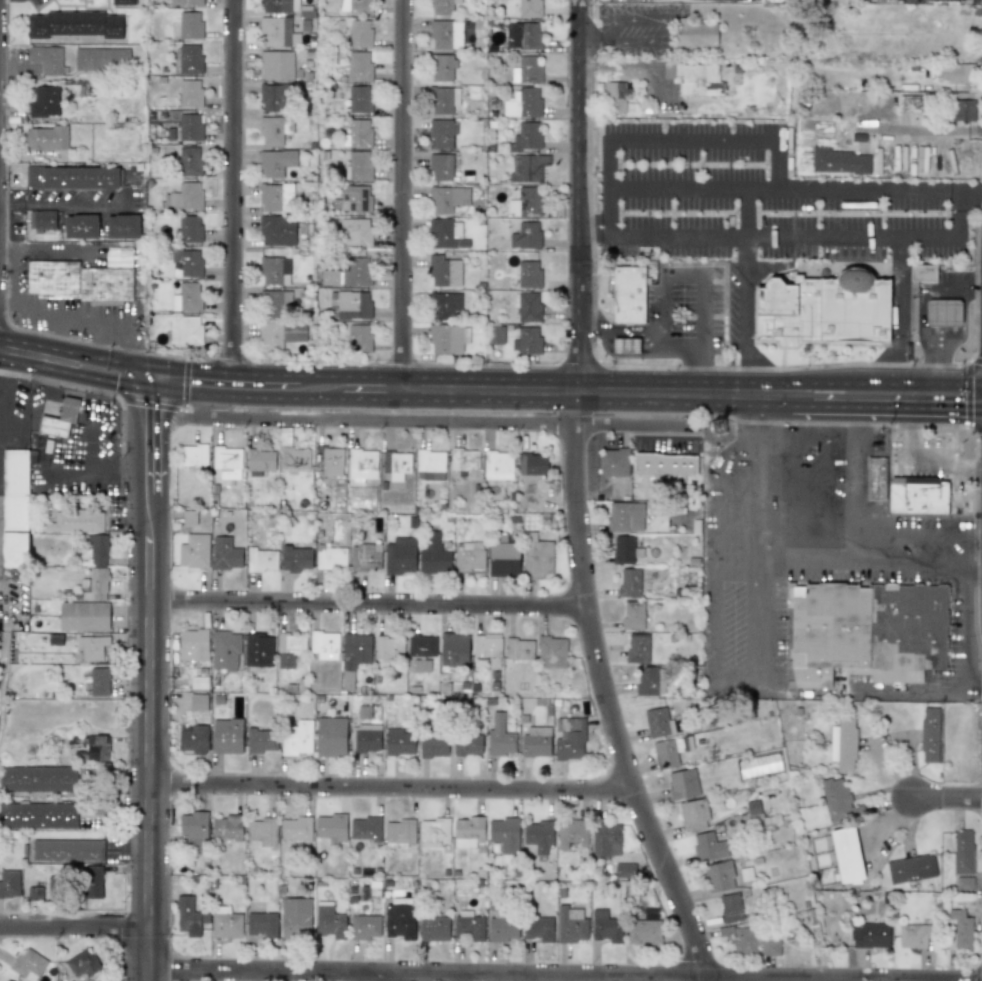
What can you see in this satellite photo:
building: (120, 2)
building: (184, 2)
building: (279, 6)
building: (442, 6)
building: (360, 7)
building: (531, 8)
building: (73, 24)
building: (190, 24)
road: (670, 31)
building: (277, 32)
building: (694, 32)
building: (360, 33)
building: (445, 34)
building: (530, 36)
building: (189, 58)
building: (47, 59)
building: (101, 59)
building: (276, 65)
building: (360, 66)
road: (631, 66)
building: (442, 67)
building: (528, 70)
building: (956, 73)
building: (694, 78)
building: (190, 93)
building: (616, 96)
building: (273, 97)
building: (360, 99)
building: (443, 99)
building: (44, 102)
building: (524, 103)
building: (909, 103)
building: (963, 110)
building: (189, 126)
building: (272, 130)
building: (357, 133)
building: (441, 133)
building: (526, 136)
building: (46, 138)
road: (754, 139)
building: (190, 161)
building: (839, 161)
building: (275, 162)
building: (359, 165)
building: (440, 166)
building: (527, 167)
building: (73, 178)
road: (866, 191)
road: (970, 191)
road: (231, 193)
road: (401, 194)
building: (186, 196)
building: (276, 197)
building: (352, 198)
building: (447, 198)
road: (6, 199)
road: (85, 200)
parking lot: (765, 200)
building: (525, 202)
road: (748, 213)
building: (42, 220)
building: (80, 226)
building: (122, 226)
building: (188, 228)
building: (277, 230)
building: (354, 231)
building: (444, 232)
road: (594, 234)
road: (736, 234)
building: (525, 235)
road: (877, 238)
road: (65, 251)
building: (116, 258)
building: (186, 263)
building: (274, 270)
building: (443, 271)
building: (922, 272)
building: (349, 273)
building: (529, 274)
building: (79, 282)
building: (628, 295)
building: (186, 297)
building: (276, 302)
road: (6, 303)
building: (443, 304)
building: (349, 305)
building: (528, 306)
building: (824, 310)
road: (903, 311)
building: (943, 312)
gas station: (943, 312)
road: (921, 317)
road: (62, 320)
road: (660, 325)
road: (964, 325)
building: (185, 330)
road: (697, 331)
road: (621, 333)
building: (279, 334)
building: (495, 335)
building: (359, 337)
road: (59, 338)
building: (448, 338)
building: (526, 340)
road: (97, 346)
road: (75, 360)
road: (2, 367)
road: (746, 371)
road: (868, 384)
road: (453, 389)
road: (868, 407)
building: (60, 418)
road: (435, 420)
power tower: (725, 426)
building: (193, 455)
building: (226, 457)
parking lot: (926, 458)
building: (260, 459)
building: (294, 459)
building: (464, 459)
road: (924, 459)
building: (329, 460)
building: (430, 460)
building: (497, 461)
building: (396, 462)
building: (614, 462)
building: (361, 464)
building: (532, 464)
building: (663, 464)
road: (854, 468)
road: (84, 476)
building: (876, 478)
building: (917, 497)
road: (575, 500)
building: (14, 504)
building: (625, 517)
building: (188, 518)
building: (74, 520)
road: (877, 530)
building: (97, 550)
building: (625, 550)
building: (194, 551)
building: (225, 554)
building: (366, 556)
building: (400, 556)
building: (434, 556)
building: (537, 556)
building: (330, 557)
building: (295, 559)
building: (468, 559)
building: (261, 560)
building: (503, 560)
road: (973, 576)
building: (629, 583)
building: (96, 584)
road: (367, 601)
building: (84, 616)
building: (633, 616)
building: (867, 632)
building: (193, 644)
building: (324, 645)
building: (421, 645)
building: (486, 646)
building: (92, 647)
building: (289, 648)
building: (356, 648)
building: (388, 648)
building: (638, 648)
building: (225, 649)
building: (519, 649)
building: (258, 650)
building: (453, 650)
building: (551, 652)
road: (150, 680)
building: (99, 681)
building: (650, 681)
road: (974, 681)
building: (199, 682)
road: (882, 695)
building: (198, 702)
building: (657, 722)
building: (929, 735)
building: (227, 736)
building: (331, 737)
building: (500, 737)
building: (296, 738)
building: (365, 738)
building: (194, 739)
building: (570, 739)
building: (260, 740)
building: (398, 742)
building: (843, 743)
building: (467, 744)
building: (535, 745)
building: (433, 746)
building: (96, 748)
building: (665, 753)
building: (38, 778)
road: (116, 784)
building: (683, 784)
road: (390, 785)
building: (837, 800)
road: (951, 800)
road: (115, 806)
building: (753, 809)
building: (38, 814)
building: (693, 814)
road: (893, 819)
building: (228, 826)
building: (331, 826)
building: (296, 828)
building: (365, 828)
building: (469, 828)
building: (262, 830)
building: (435, 830)
building: (400, 831)
building: (194, 832)
building: (571, 833)
building: (505, 834)
building: (539, 835)
building: (605, 840)
building: (708, 847)
building: (67, 850)
building: (963, 852)
building: (847, 855)
building: (911, 868)
building: (625, 870)
building: (719, 876)
building: (91, 882)
building: (9, 883)
building: (964, 883)
building: (34, 893)
power tower: (801, 896)
building: (730, 907)
building: (189, 916)
building: (295, 917)
building: (400, 920)
building: (329, 922)
building: (261, 924)
building: (226, 925)
building: (606, 926)
road: (75, 927)
building: (364, 927)
building: (469, 927)
building: (570, 927)
building: (538, 928)
building: (434, 929)
building: (503, 929)
building: (958, 930)
building: (643, 931)
building: (870, 935)
building: (914, 935)
building: (744, 941)
building: (770, 947)
building: (82, 963)
building: (28, 964)
road: (565, 973)

